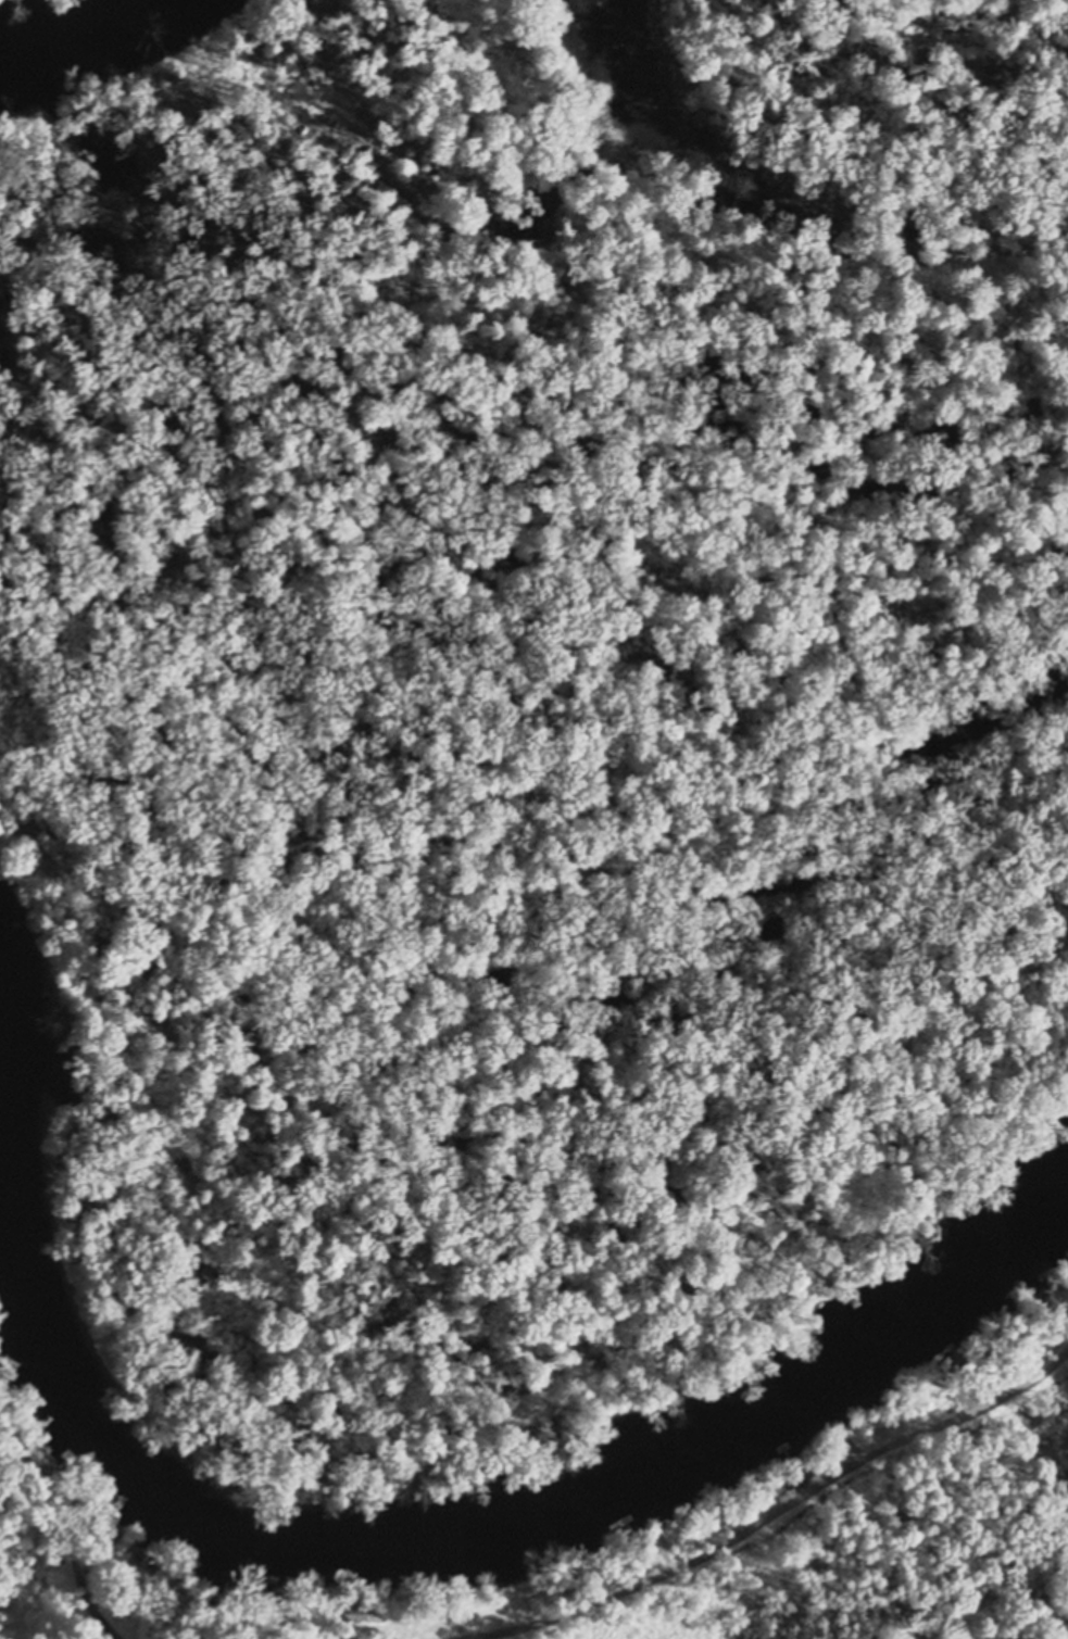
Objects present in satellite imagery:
river: (70, 21)
building: (118, 1086)
building: (1060, 1281)
building: (1050, 1299)
building: (975, 1358)
building: (0, 1374)
building: (67, 1453)
building: (45, 1467)
building: (801, 1474)
building: (70, 1503)
road: (761, 1516)
river: (480, 1529)
building: (112, 1531)
road: (64, 1534)
building: (649, 1550)
building: (147, 1561)
building: (171, 1580)
building: (360, 1613)
building: (440, 1614)
building: (330, 1624)

